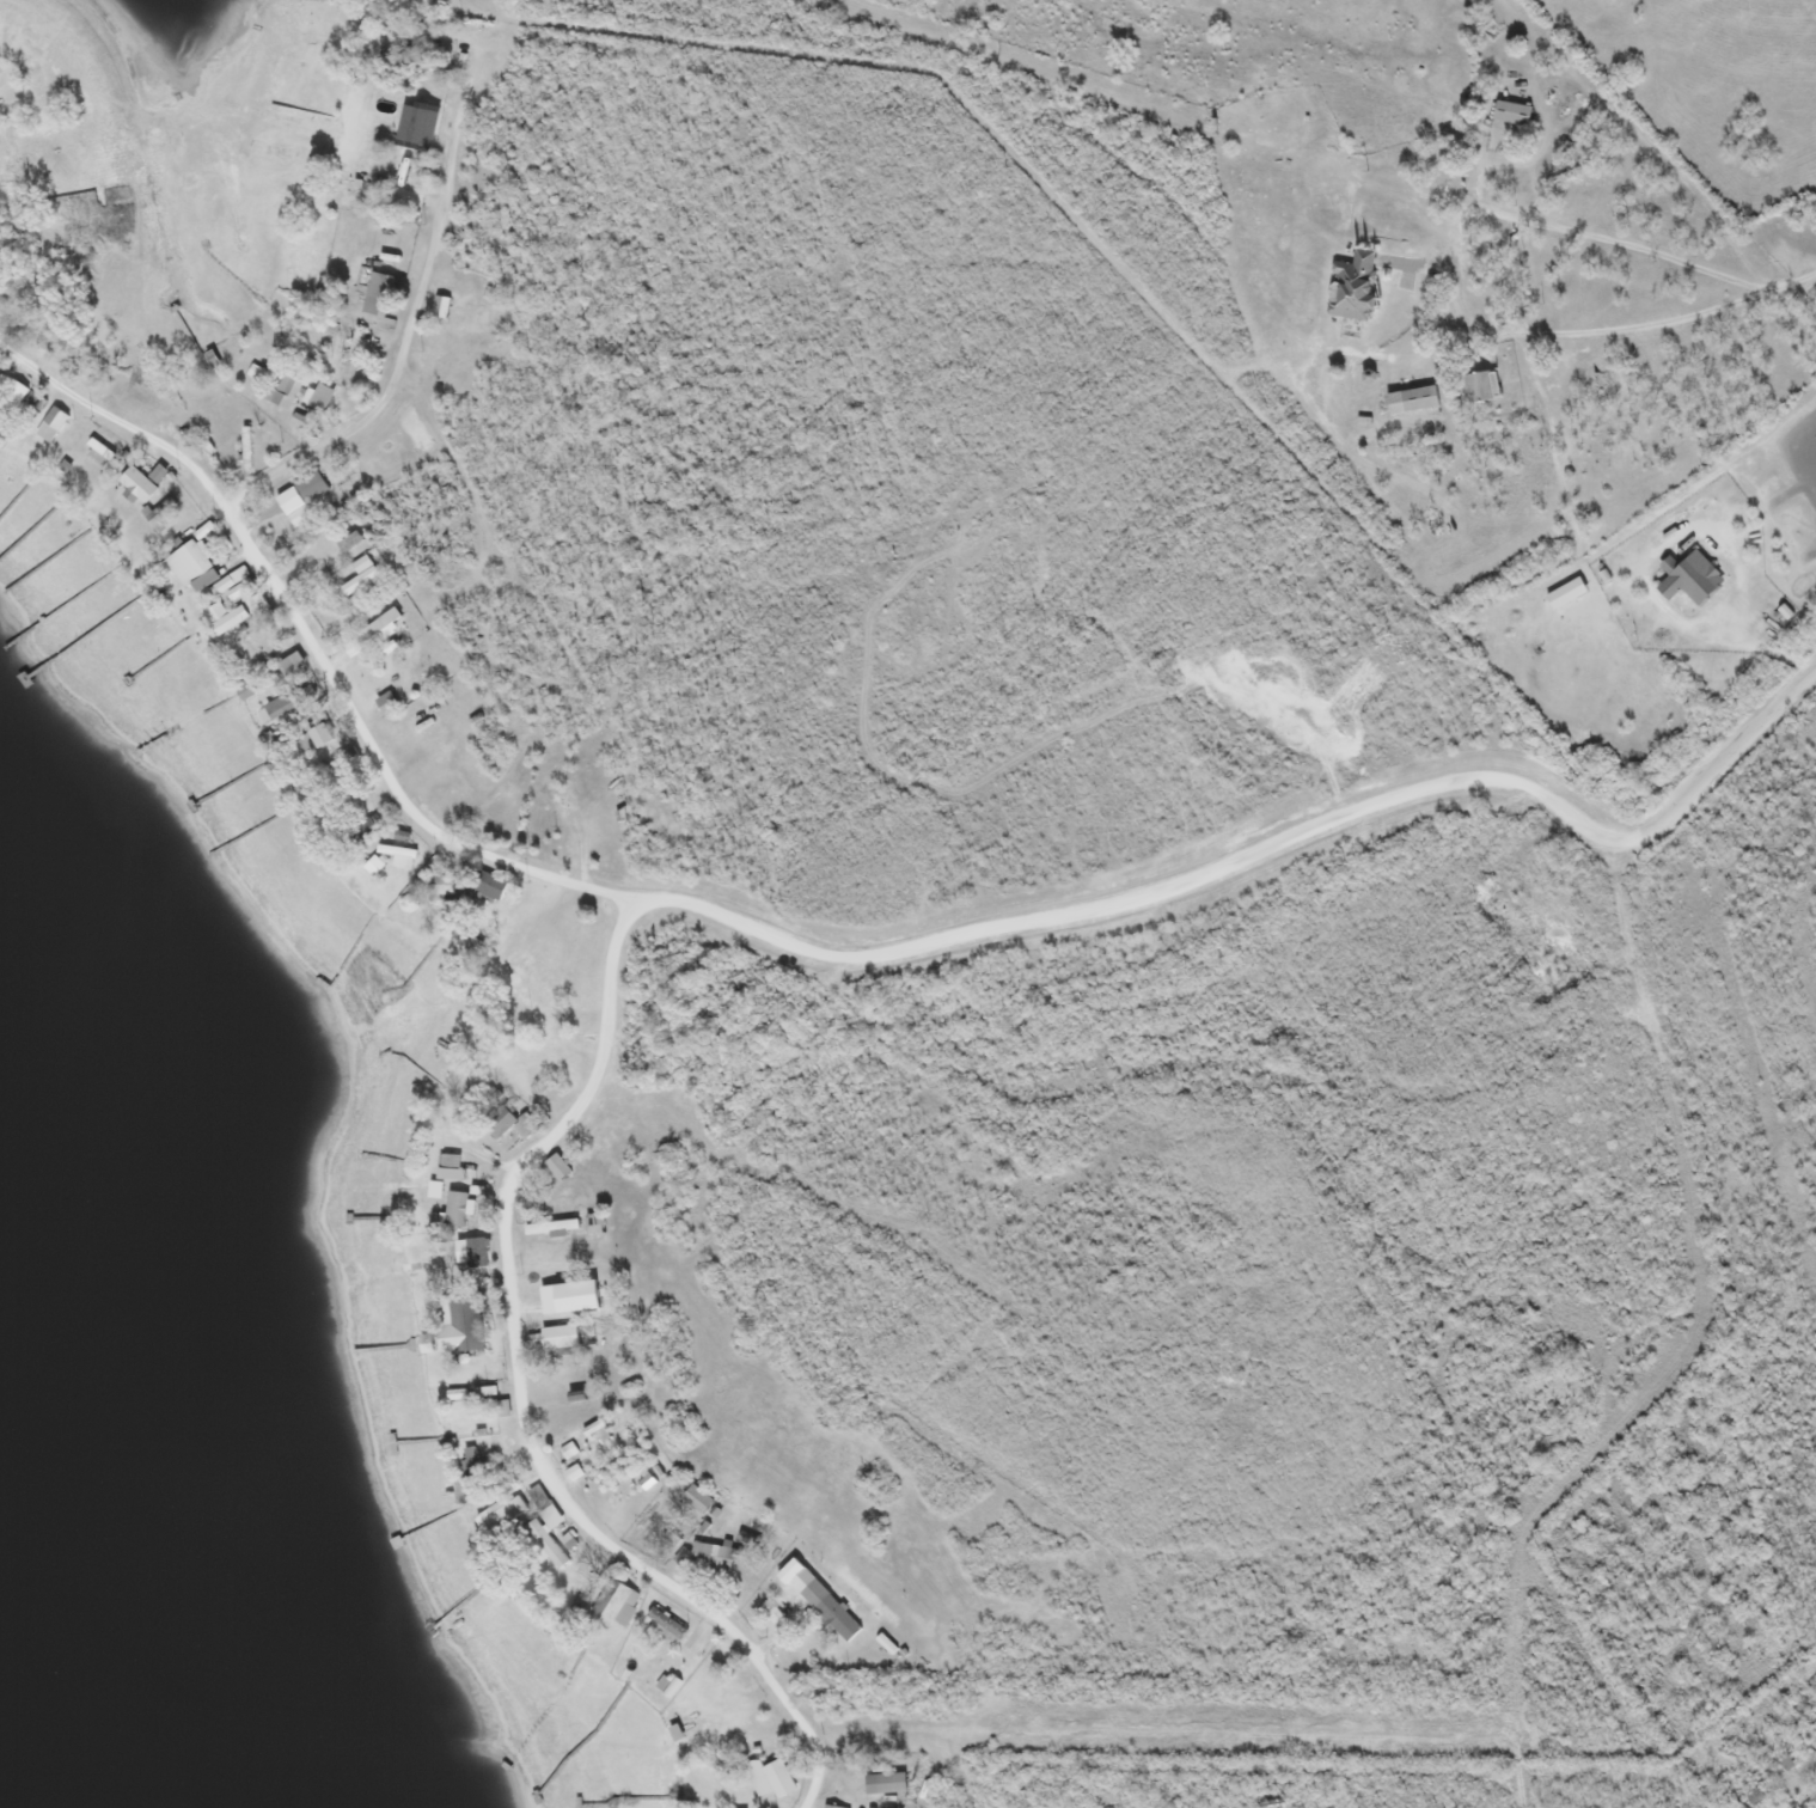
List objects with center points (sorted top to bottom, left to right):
building: (408, 54)
building: (461, 60)
building: (1512, 111)
building: (418, 122)
building: (409, 138)
building: (404, 200)
building: (1358, 287)
building: (380, 293)
building: (442, 306)
road: (406, 336)
building: (458, 341)
building: (357, 348)
building: (210, 358)
building: (1479, 385)
building: (287, 391)
building: (320, 395)
building: (13, 398)
building: (1413, 398)
road: (122, 420)
building: (301, 420)
building: (50, 423)
building: (100, 447)
building: (247, 447)
building: (142, 481)
building: (304, 493)
building: (158, 513)
building: (203, 529)
building: (350, 539)
building: (190, 566)
building: (361, 573)
building: (1690, 576)
building: (230, 579)
building: (1565, 592)
building: (1785, 610)
building: (230, 618)
building: (378, 625)
building: (292, 662)
building: (243, 689)
building: (287, 701)
building: (387, 702)
building: (319, 737)
road: (1735, 749)
road: (385, 765)
building: (300, 787)
building: (558, 804)
building: (622, 813)
building: (372, 823)
building: (401, 835)
building: (397, 854)
building: (372, 865)
building: (489, 882)
building: (442, 887)
road: (1156, 896)
building: (500, 1122)
building: (524, 1124)
building: (556, 1166)
building: (450, 1167)
building: (457, 1208)
building: (594, 1222)
building: (550, 1224)
building: (476, 1251)
building: (574, 1295)
building: (463, 1323)
building: (560, 1334)
building: (475, 1376)
building: (571, 1388)
building: (487, 1389)
building: (457, 1393)
road: (526, 1400)
building: (503, 1406)
building: (597, 1429)
building: (568, 1449)
building: (472, 1459)
building: (573, 1471)
building: (647, 1480)
building: (696, 1496)
building: (544, 1505)
building: (507, 1514)
building: (703, 1526)
building: (671, 1537)
building: (748, 1537)
building: (568, 1540)
building: (546, 1543)
building: (715, 1553)
building: (788, 1570)
building: (613, 1604)
building: (830, 1608)
building: (774, 1614)
building: (666, 1621)
building: (887, 1643)
building: (667, 1684)
building: (675, 1731)
building: (1785, 1761)
building: (771, 1777)
building: (885, 1783)
building: (833, 1806)

